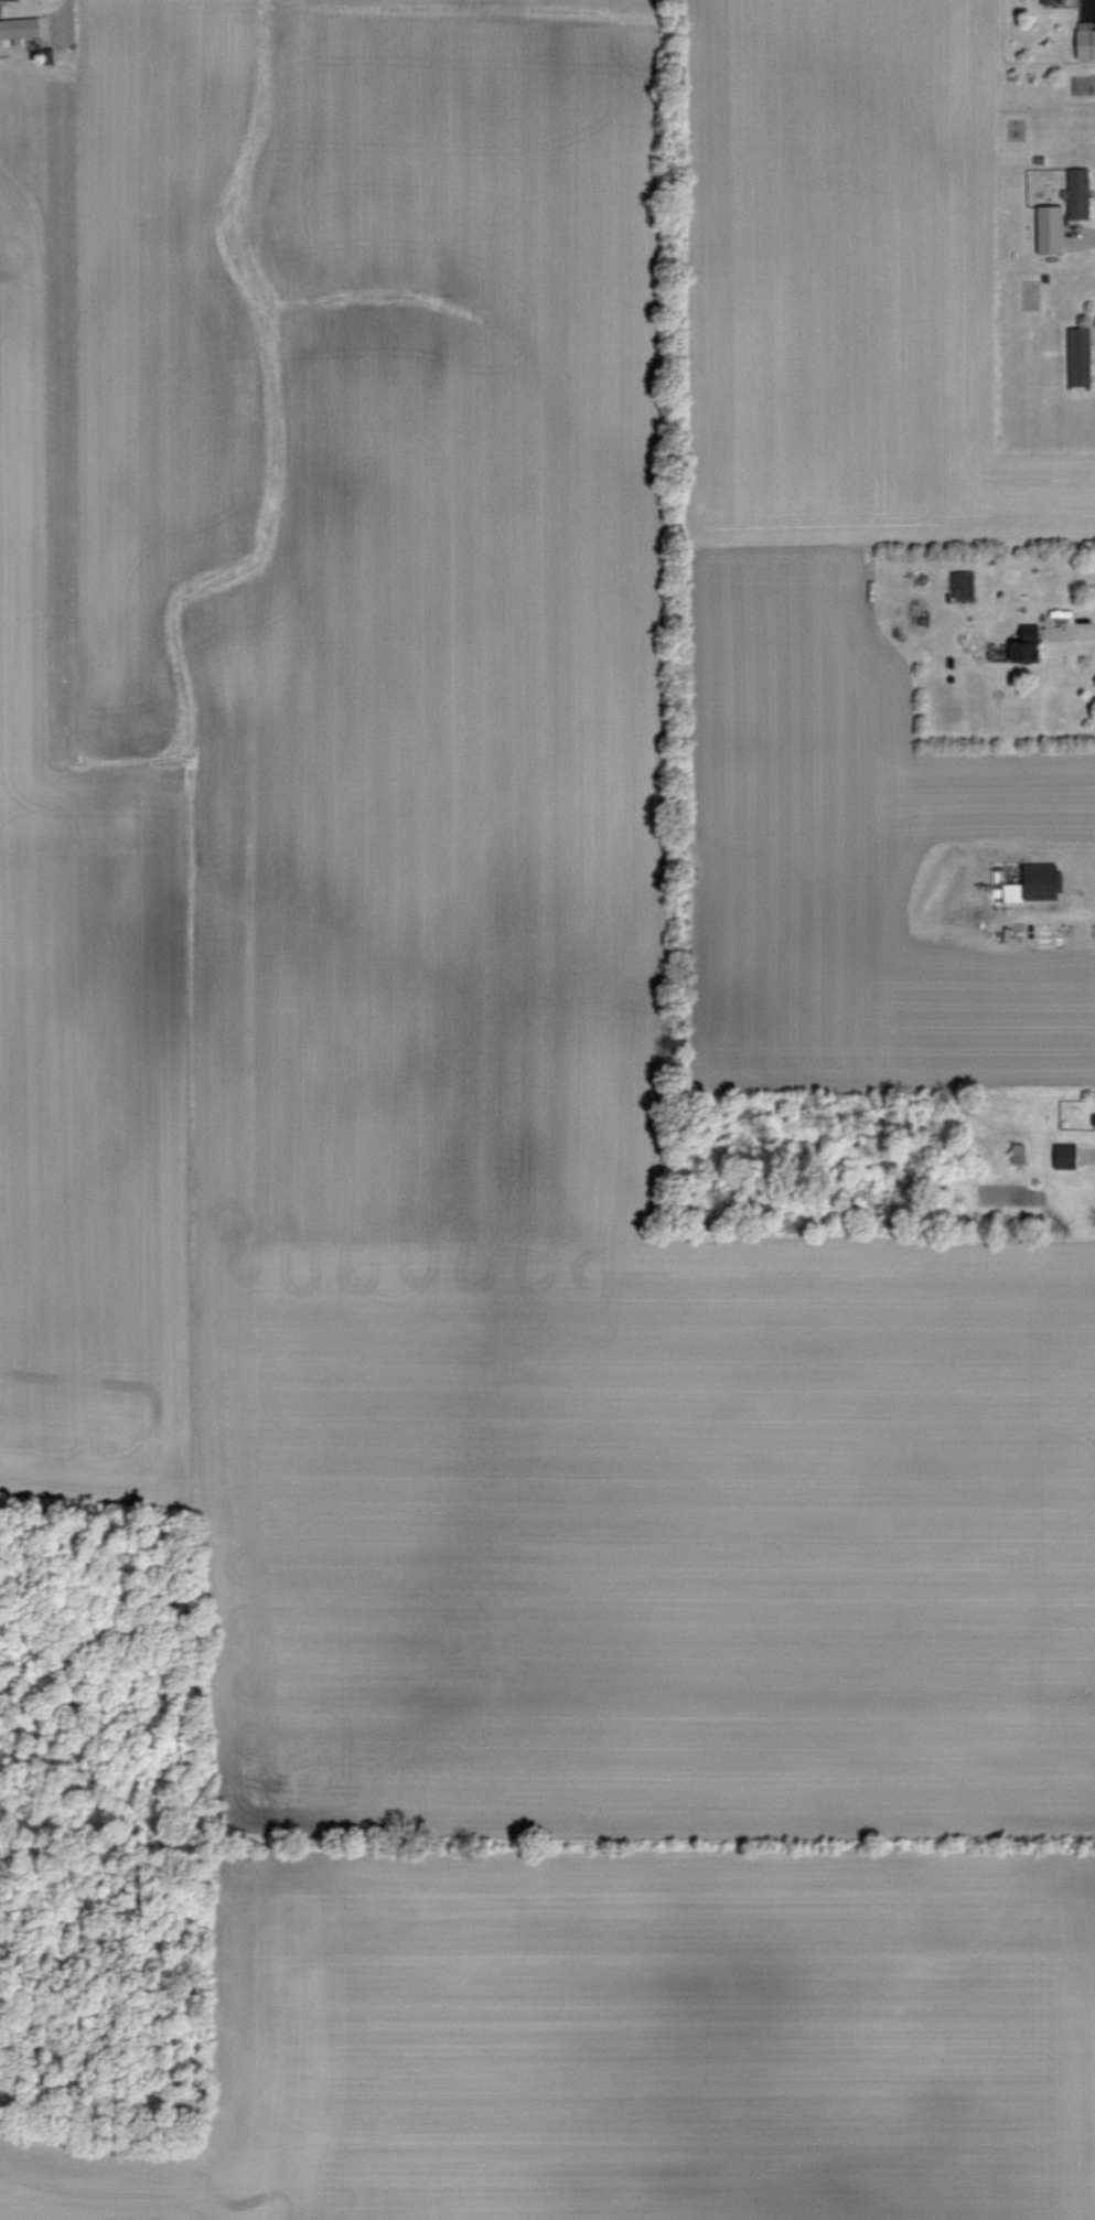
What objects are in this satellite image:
building: (8, 0)
road: (1094, 3)
building: (19, 28)
building: (1085, 44)
building: (1077, 193)
building: (1050, 229)
building: (1078, 356)
building: (962, 586)
road: (1075, 634)
building: (1026, 645)
building: (1094, 1119)
building: (1064, 1156)

